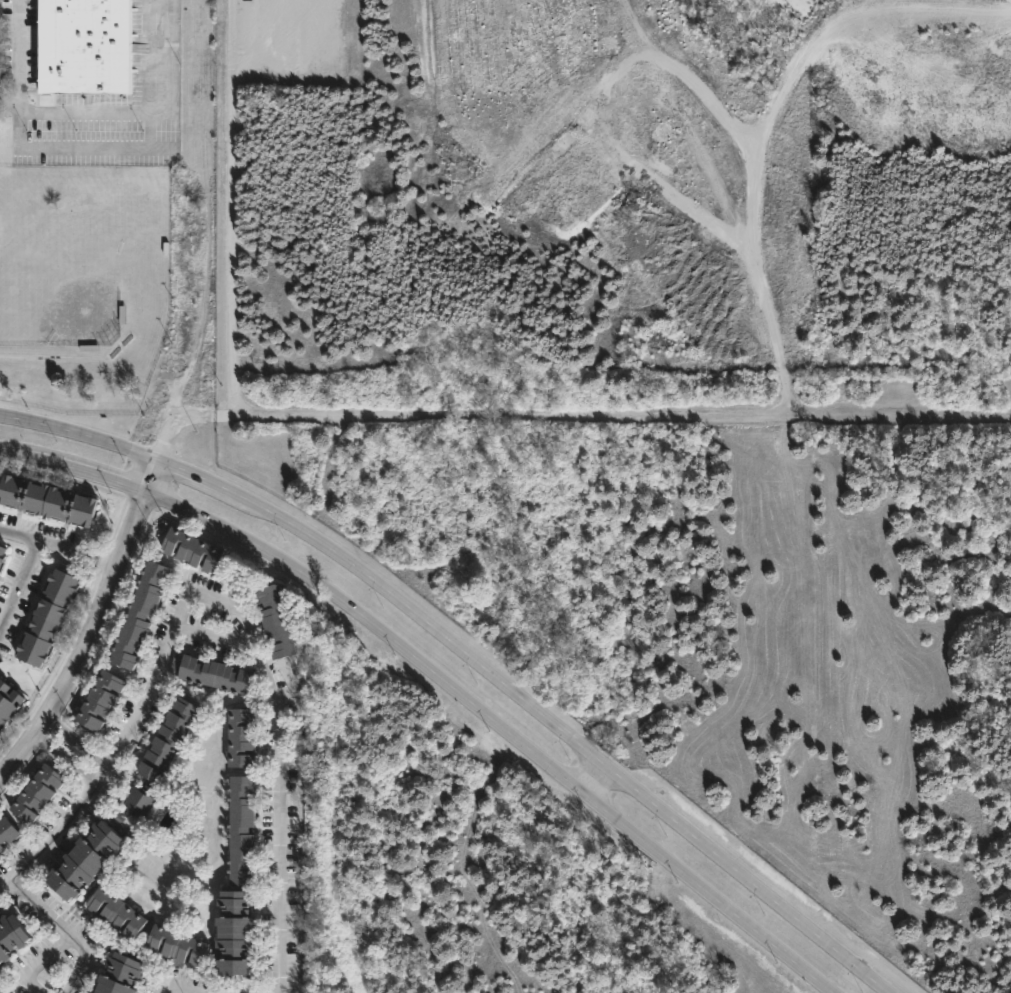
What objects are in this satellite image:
building: (82, 45)
road: (17, 52)
road: (136, 110)
airport: (614, 189)
road: (570, 416)
road: (81, 436)
road: (20, 452)
road: (96, 473)
road: (157, 479)
road: (196, 480)
building: (45, 501)
road: (76, 551)
building: (191, 551)
building: (1, 554)
road: (27, 567)
building: (139, 616)
building: (46, 619)
building: (274, 622)
road: (88, 643)
building: (212, 671)
building: (99, 698)
building: (7, 700)
road: (502, 727)
road: (564, 733)
building: (240, 736)
road: (128, 737)
building: (168, 738)
road: (79, 742)
road: (69, 759)
road: (592, 777)
road: (0, 778)
building: (36, 792)
road: (284, 795)
building: (140, 799)
building: (7, 829)
building: (241, 830)
building: (1, 846)
building: (83, 859)
building: (115, 911)
building: (234, 931)
road: (68, 932)
building: (10, 934)
building: (175, 943)
road: (40, 961)
building: (119, 975)
building: (0, 990)

